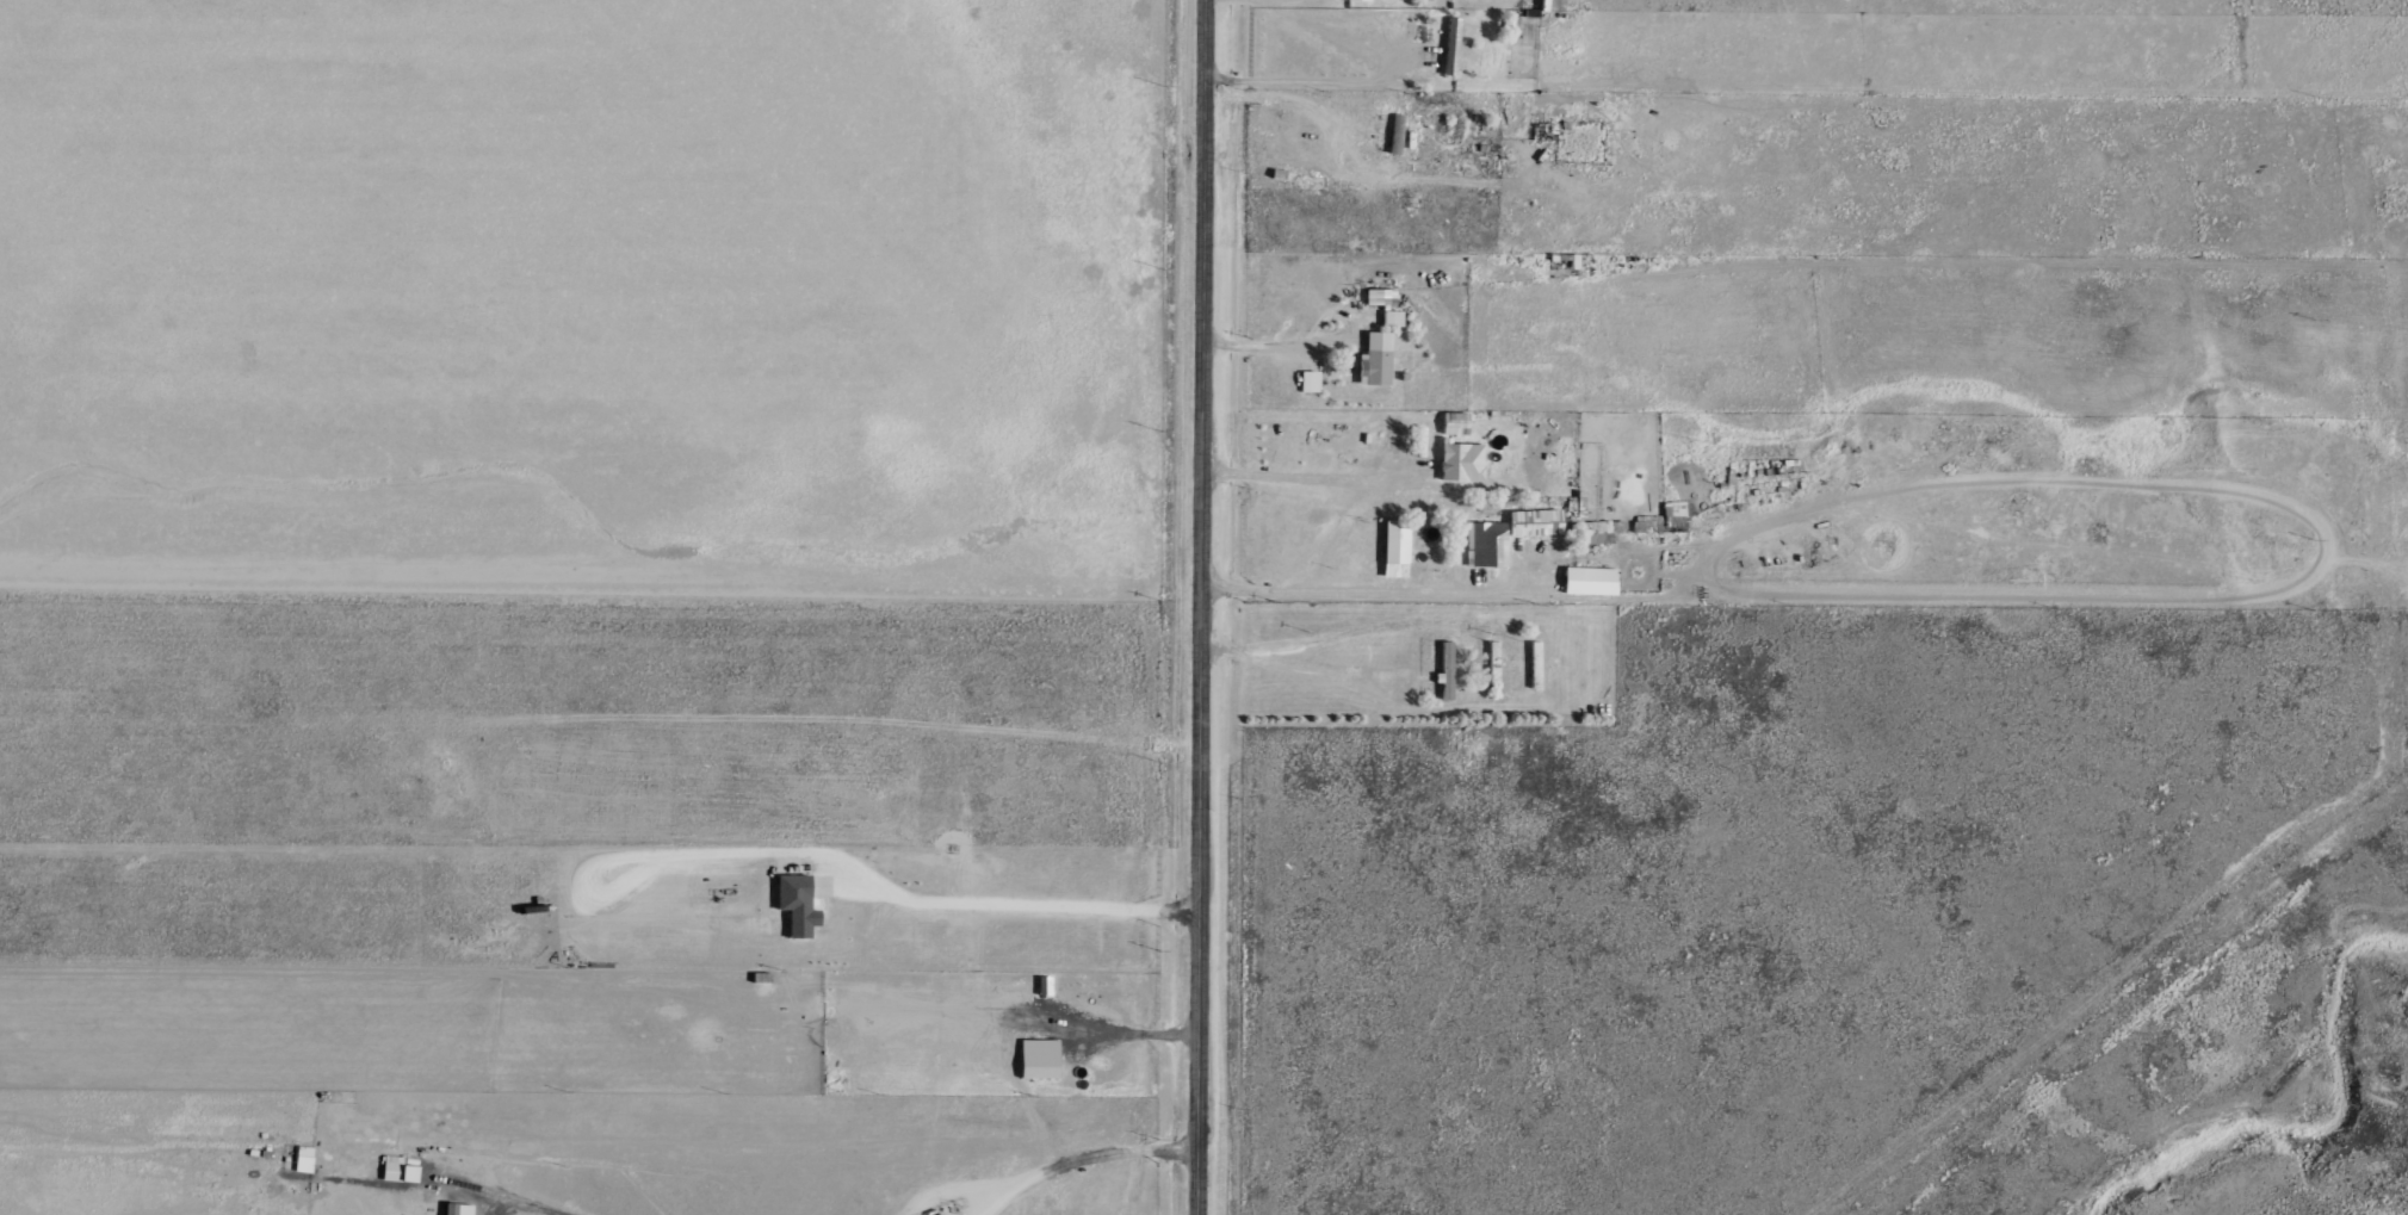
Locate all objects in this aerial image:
building: (1355, 0)
building: (1449, 47)
building: (1399, 134)
building: (1382, 297)
building: (1380, 359)
building: (1311, 382)
building: (1457, 423)
road: (1399, 454)
building: (1440, 507)
building: (1676, 514)
building: (1539, 522)
building: (1599, 531)
building: (1488, 544)
building: (1399, 550)
building: (1591, 581)
road: (1201, 607)
building: (1539, 659)
building: (1497, 663)
building: (1449, 669)
building: (800, 904)
building: (1042, 1066)
building: (305, 1159)
building: (462, 1209)

